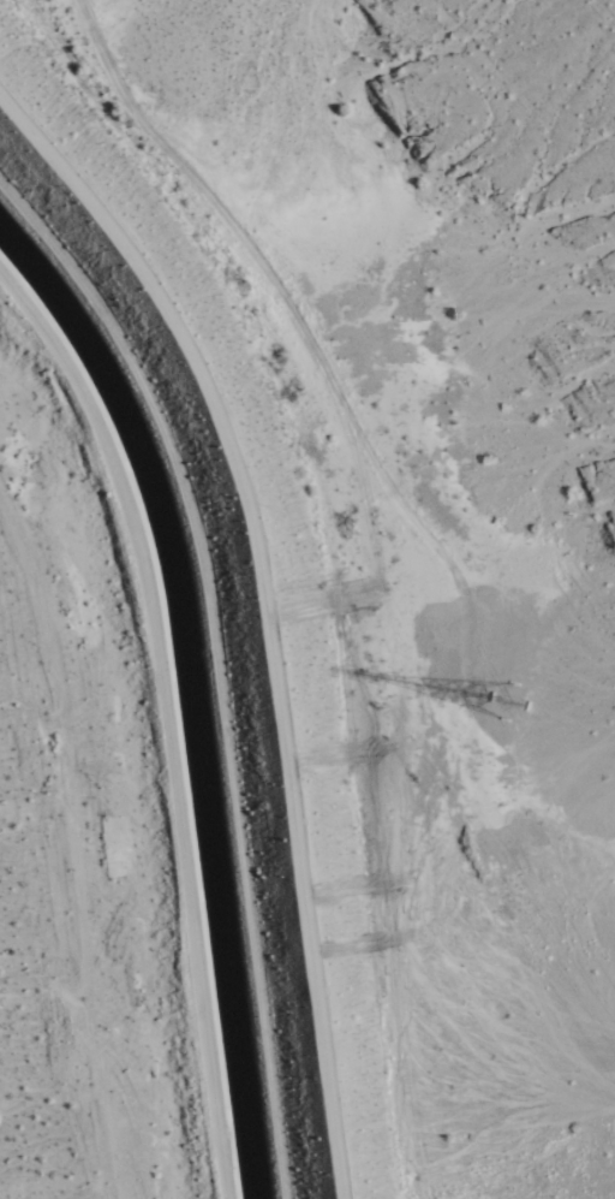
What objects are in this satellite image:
power tower: (486, 708)
road: (166, 719)

